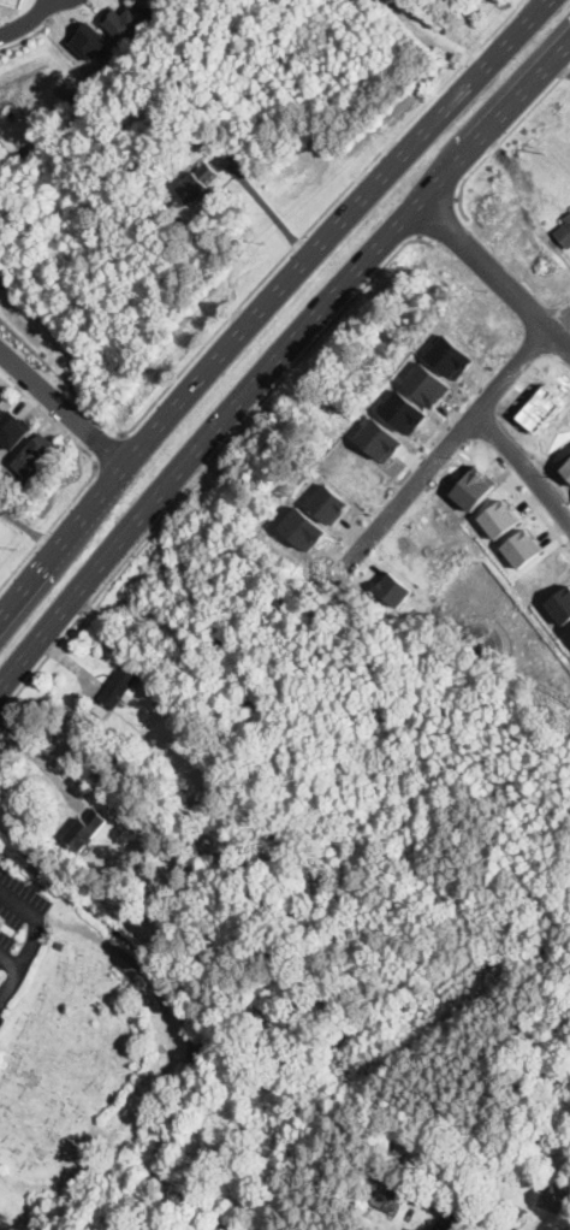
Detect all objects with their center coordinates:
building: (451, 0)
road: (26, 20)
building: (121, 20)
road: (443, 29)
road: (28, 36)
building: (90, 40)
road: (559, 69)
road: (509, 129)
building: (198, 183)
road: (522, 187)
road: (265, 203)
building: (160, 206)
road: (437, 214)
road: (317, 215)
building: (564, 232)
road: (494, 274)
road: (265, 300)
road: (559, 319)
road: (277, 356)
building: (450, 356)
building: (426, 384)
building: (1, 397)
road: (63, 404)
building: (403, 412)
building: (11, 428)
road: (107, 448)
building: (32, 453)
road: (443, 454)
road: (202, 467)
road: (523, 468)
road: (90, 473)
building: (328, 503)
building: (500, 519)
road: (25, 528)
building: (393, 589)
building: (562, 604)
building: (569, 631)
building: (120, 687)
building: (100, 710)
road: (38, 761)
building: (125, 765)
building: (87, 829)
road: (35, 919)
parking lot: (18, 923)
building: (59, 947)
road: (14, 971)
building: (405, 1155)
building: (387, 1199)
building: (566, 1201)
building: (456, 1219)
parking lot: (5, 1223)

